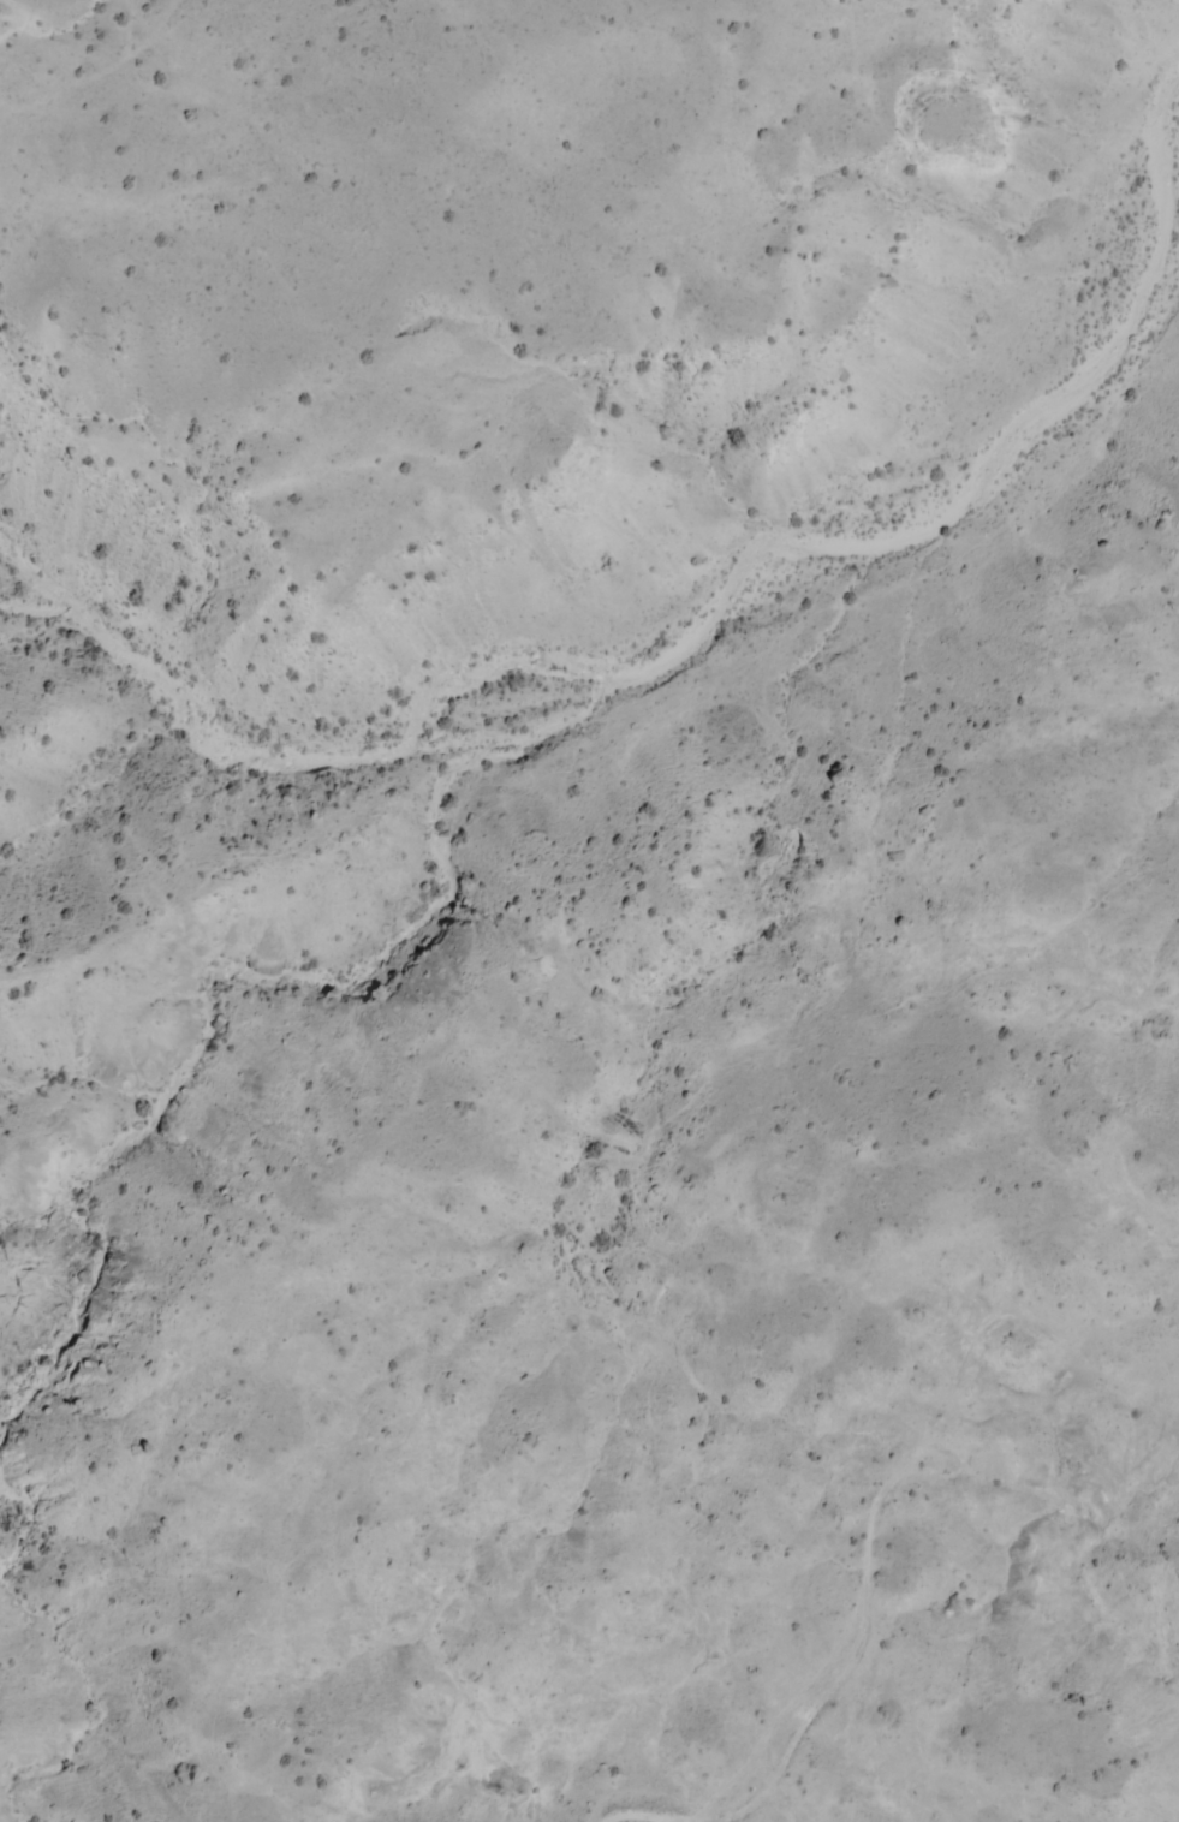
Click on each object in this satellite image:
road: (877, 1560)

